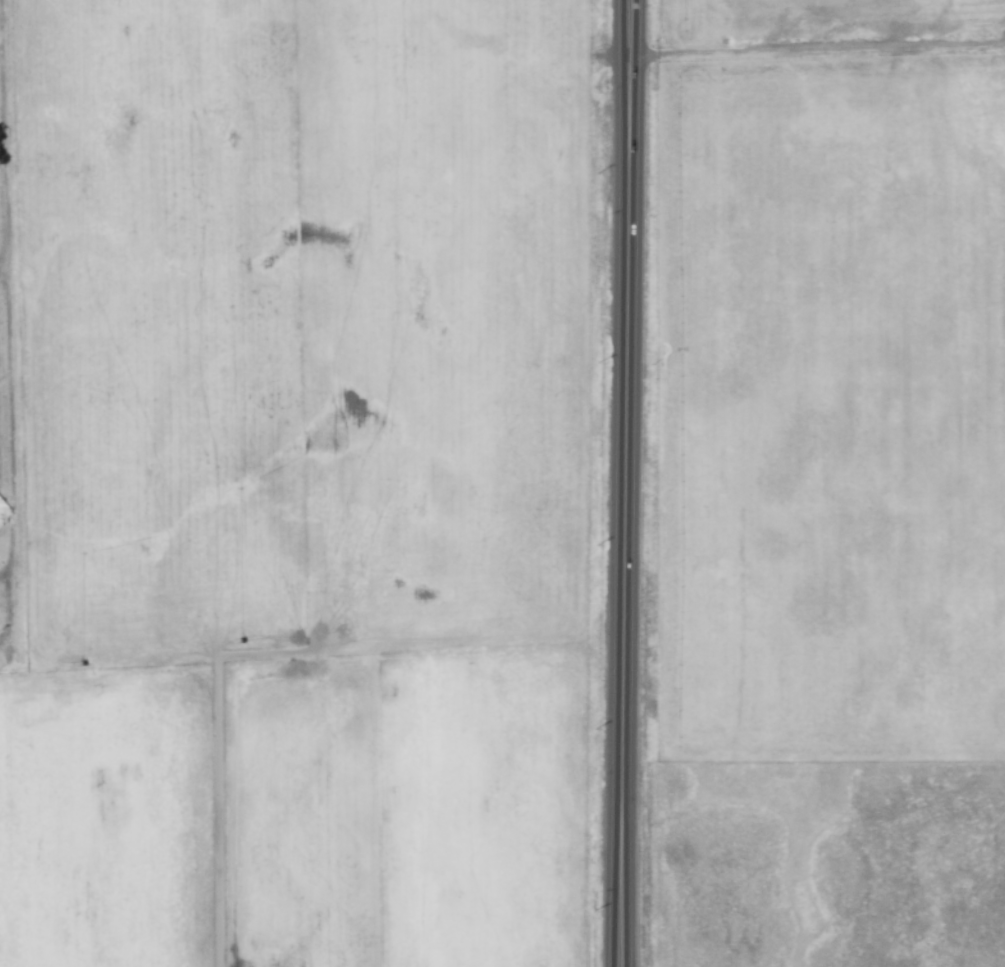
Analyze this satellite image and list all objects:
road: (5, 333)
road: (617, 483)

